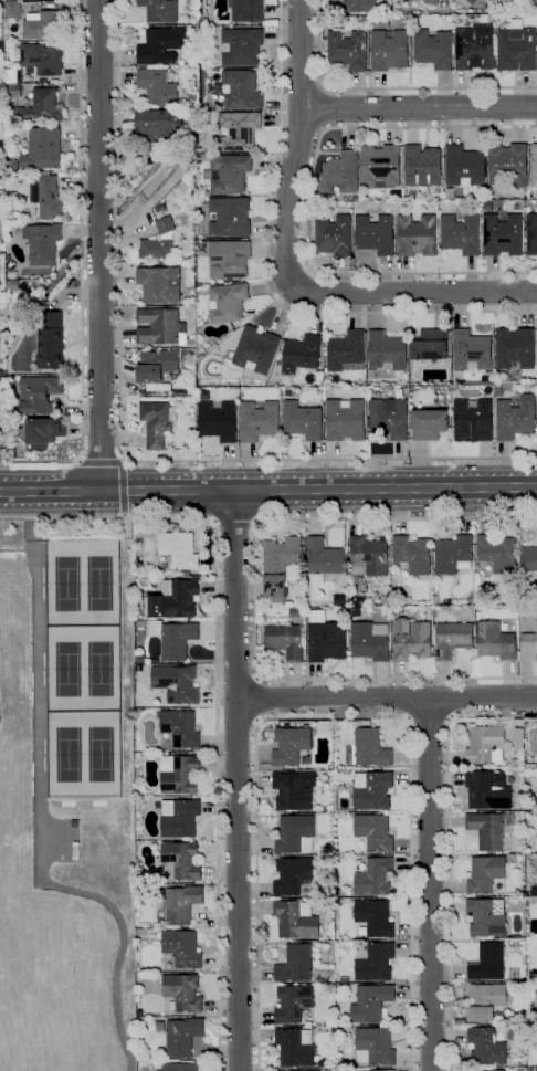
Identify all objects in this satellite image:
building: (471, 1)
building: (430, 2)
building: (0, 4)
building: (442, 4)
building: (359, 6)
building: (12, 10)
building: (160, 10)
building: (248, 11)
building: (42, 25)
building: (160, 45)
building: (241, 46)
building: (474, 48)
building: (432, 49)
building: (516, 49)
building: (348, 50)
building: (389, 50)
building: (42, 59)
building: (13, 76)
building: (42, 81)
building: (157, 86)
road: (302, 87)
road: (386, 88)
building: (242, 90)
building: (13, 91)
building: (192, 97)
building: (40, 107)
road: (420, 107)
road: (323, 108)
road: (302, 126)
building: (155, 128)
building: (239, 130)
road: (295, 146)
building: (42, 149)
building: (507, 164)
building: (534, 165)
building: (422, 166)
building: (380, 167)
building: (464, 167)
building: (340, 172)
building: (228, 174)
building: (45, 197)
road: (307, 206)
building: (159, 209)
building: (230, 217)
building: (165, 225)
building: (375, 234)
building: (461, 234)
building: (502, 234)
building: (531, 234)
building: (333, 235)
building: (417, 235)
building: (42, 243)
road: (99, 244)
building: (156, 248)
building: (229, 259)
road: (82, 270)
building: (12, 274)
road: (266, 283)
building: (159, 284)
building: (12, 285)
building: (33, 286)
road: (415, 291)
building: (227, 303)
building: (161, 327)
building: (51, 342)
building: (22, 344)
building: (430, 345)
building: (215, 348)
building: (514, 348)
building: (255, 350)
building: (386, 351)
building: (471, 351)
building: (346, 353)
building: (301, 354)
building: (186, 365)
building: (156, 366)
building: (371, 374)
building: (3, 376)
building: (182, 386)
building: (39, 393)
building: (515, 417)
building: (389, 418)
building: (259, 420)
building: (346, 420)
building: (218, 421)
building: (303, 421)
building: (473, 421)
building: (157, 423)
building: (429, 423)
building: (0, 429)
building: (42, 433)
road: (119, 435)
road: (101, 458)
road: (122, 485)
road: (267, 489)
road: (28, 504)
road: (234, 524)
road: (29, 534)
road: (15, 550)
building: (177, 552)
building: (497, 553)
building: (412, 554)
building: (453, 555)
building: (368, 556)
building: (323, 559)
building: (528, 559)
building: (278, 566)
building: (144, 582)
park: (65, 584)
park: (98, 585)
road: (254, 598)
building: (172, 599)
building: (338, 599)
building: (357, 600)
building: (446, 601)
building: (441, 609)
building: (358, 611)
building: (296, 612)
building: (173, 638)
building: (452, 639)
building: (410, 640)
building: (284, 641)
building: (326, 641)
building: (369, 641)
building: (494, 641)
building: (528, 647)
park: (67, 670)
park: (98, 670)
road: (256, 678)
road: (444, 679)
road: (401, 680)
building: (179, 684)
road: (215, 691)
road: (218, 695)
road: (387, 697)
road: (255, 699)
road: (429, 716)
road: (451, 717)
road: (333, 718)
road: (407, 720)
road: (256, 721)
building: (527, 723)
building: (180, 727)
road: (219, 739)
building: (518, 739)
building: (166, 743)
building: (291, 745)
building: (485, 745)
building: (368, 748)
park: (67, 755)
park: (98, 756)
building: (499, 767)
building: (138, 770)
building: (179, 774)
road: (238, 779)
building: (487, 789)
building: (294, 790)
building: (371, 790)
building: (316, 807)
building: (336, 815)
building: (179, 818)
building: (138, 822)
building: (488, 830)
building: (373, 832)
building: (295, 833)
road: (41, 838)
building: (536, 843)
road: (447, 852)
building: (180, 861)
building: (533, 868)
building: (484, 874)
building: (292, 875)
building: (375, 878)
road: (430, 883)
building: (534, 891)
building: (181, 904)
building: (375, 917)
building: (486, 917)
building: (295, 920)
building: (137, 931)
building: (181, 948)
building: (373, 960)
building: (487, 963)
building: (295, 964)
building: (344, 979)
building: (182, 993)
building: (368, 1001)
building: (485, 1001)
building: (293, 1004)
building: (182, 1036)
building: (295, 1047)
building: (375, 1047)
building: (486, 1047)
building: (339, 1062)
building: (181, 1067)
building: (529, 1069)
building: (536, 1069)
building: (310, 1070)
building: (328, 1070)
building: (391, 1070)
building: (496, 1070)

